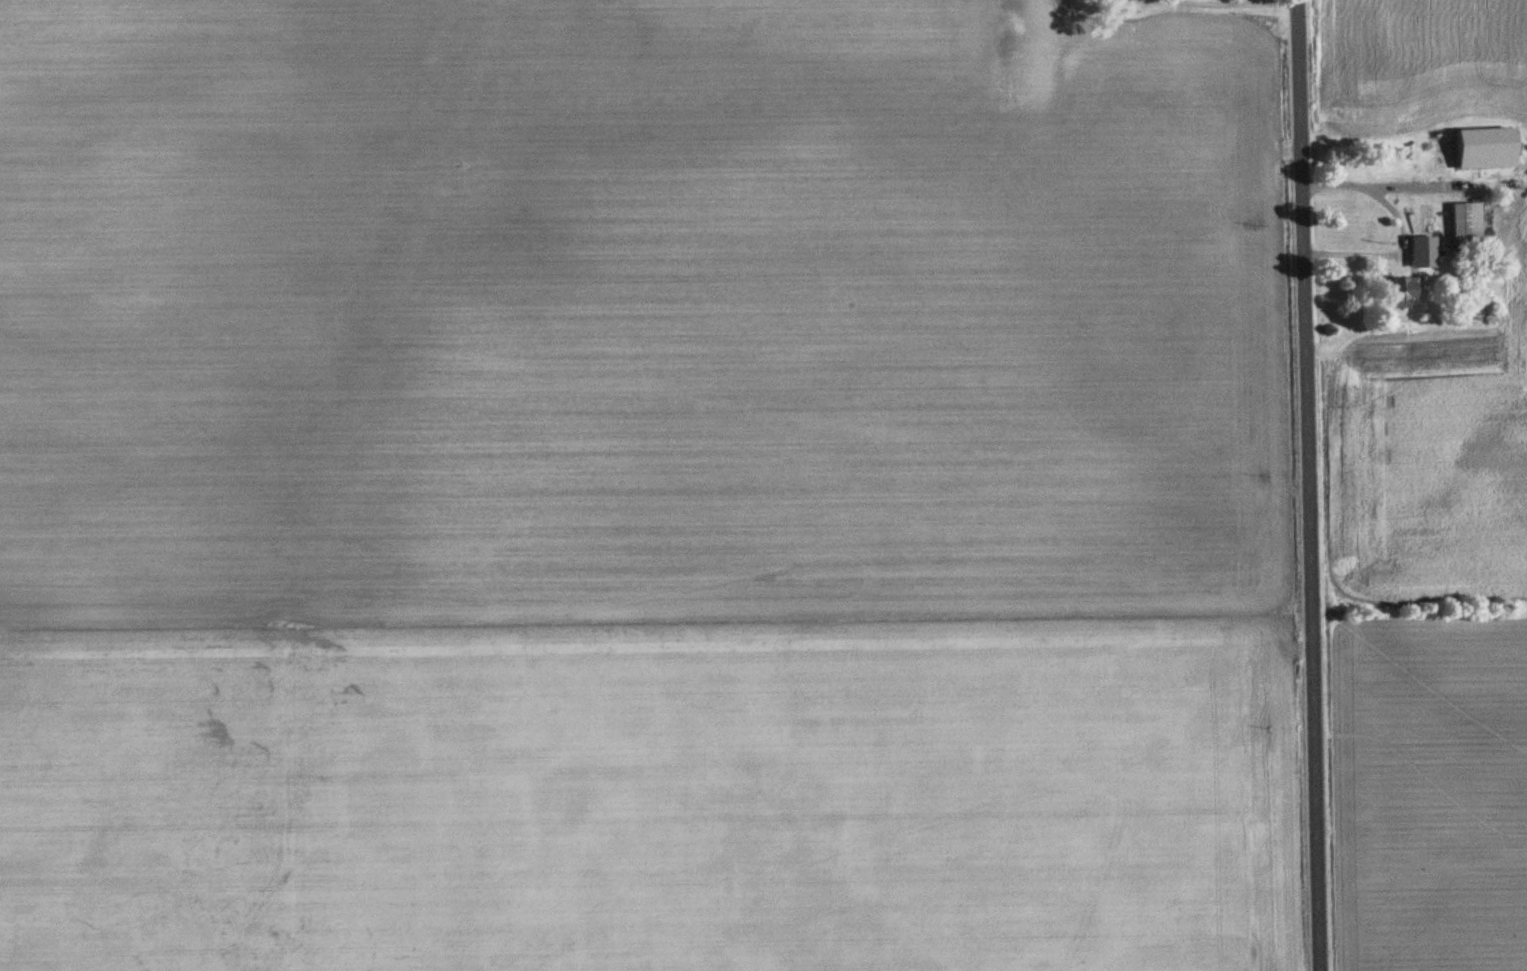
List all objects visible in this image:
building: (1023, 28)
building: (1407, 173)
building: (1467, 225)
road: (1402, 230)
building: (1424, 252)
building: (1403, 291)
road: (1302, 485)

